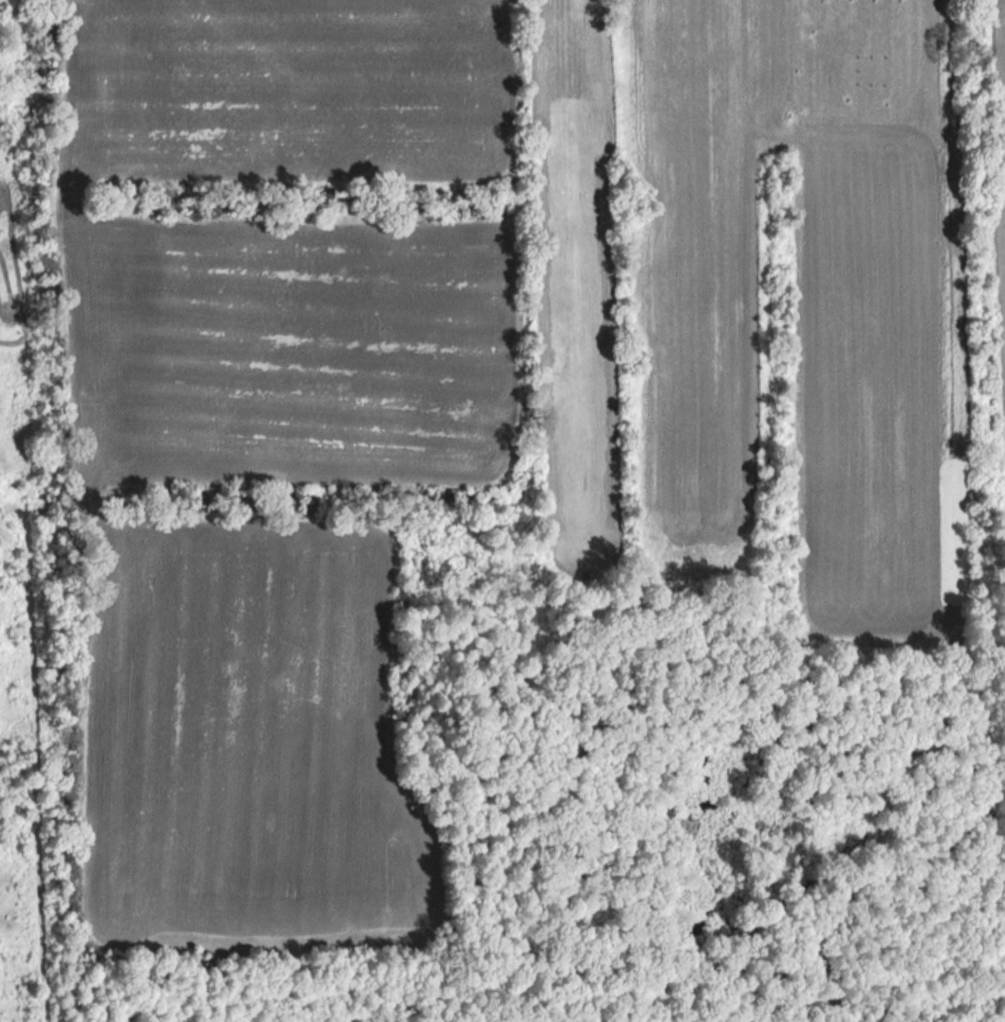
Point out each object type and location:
crop: (993, 37)
crop: (288, 250)
crop: (1001, 250)
crop: (581, 290)
crop: (806, 308)
crop: (255, 755)

